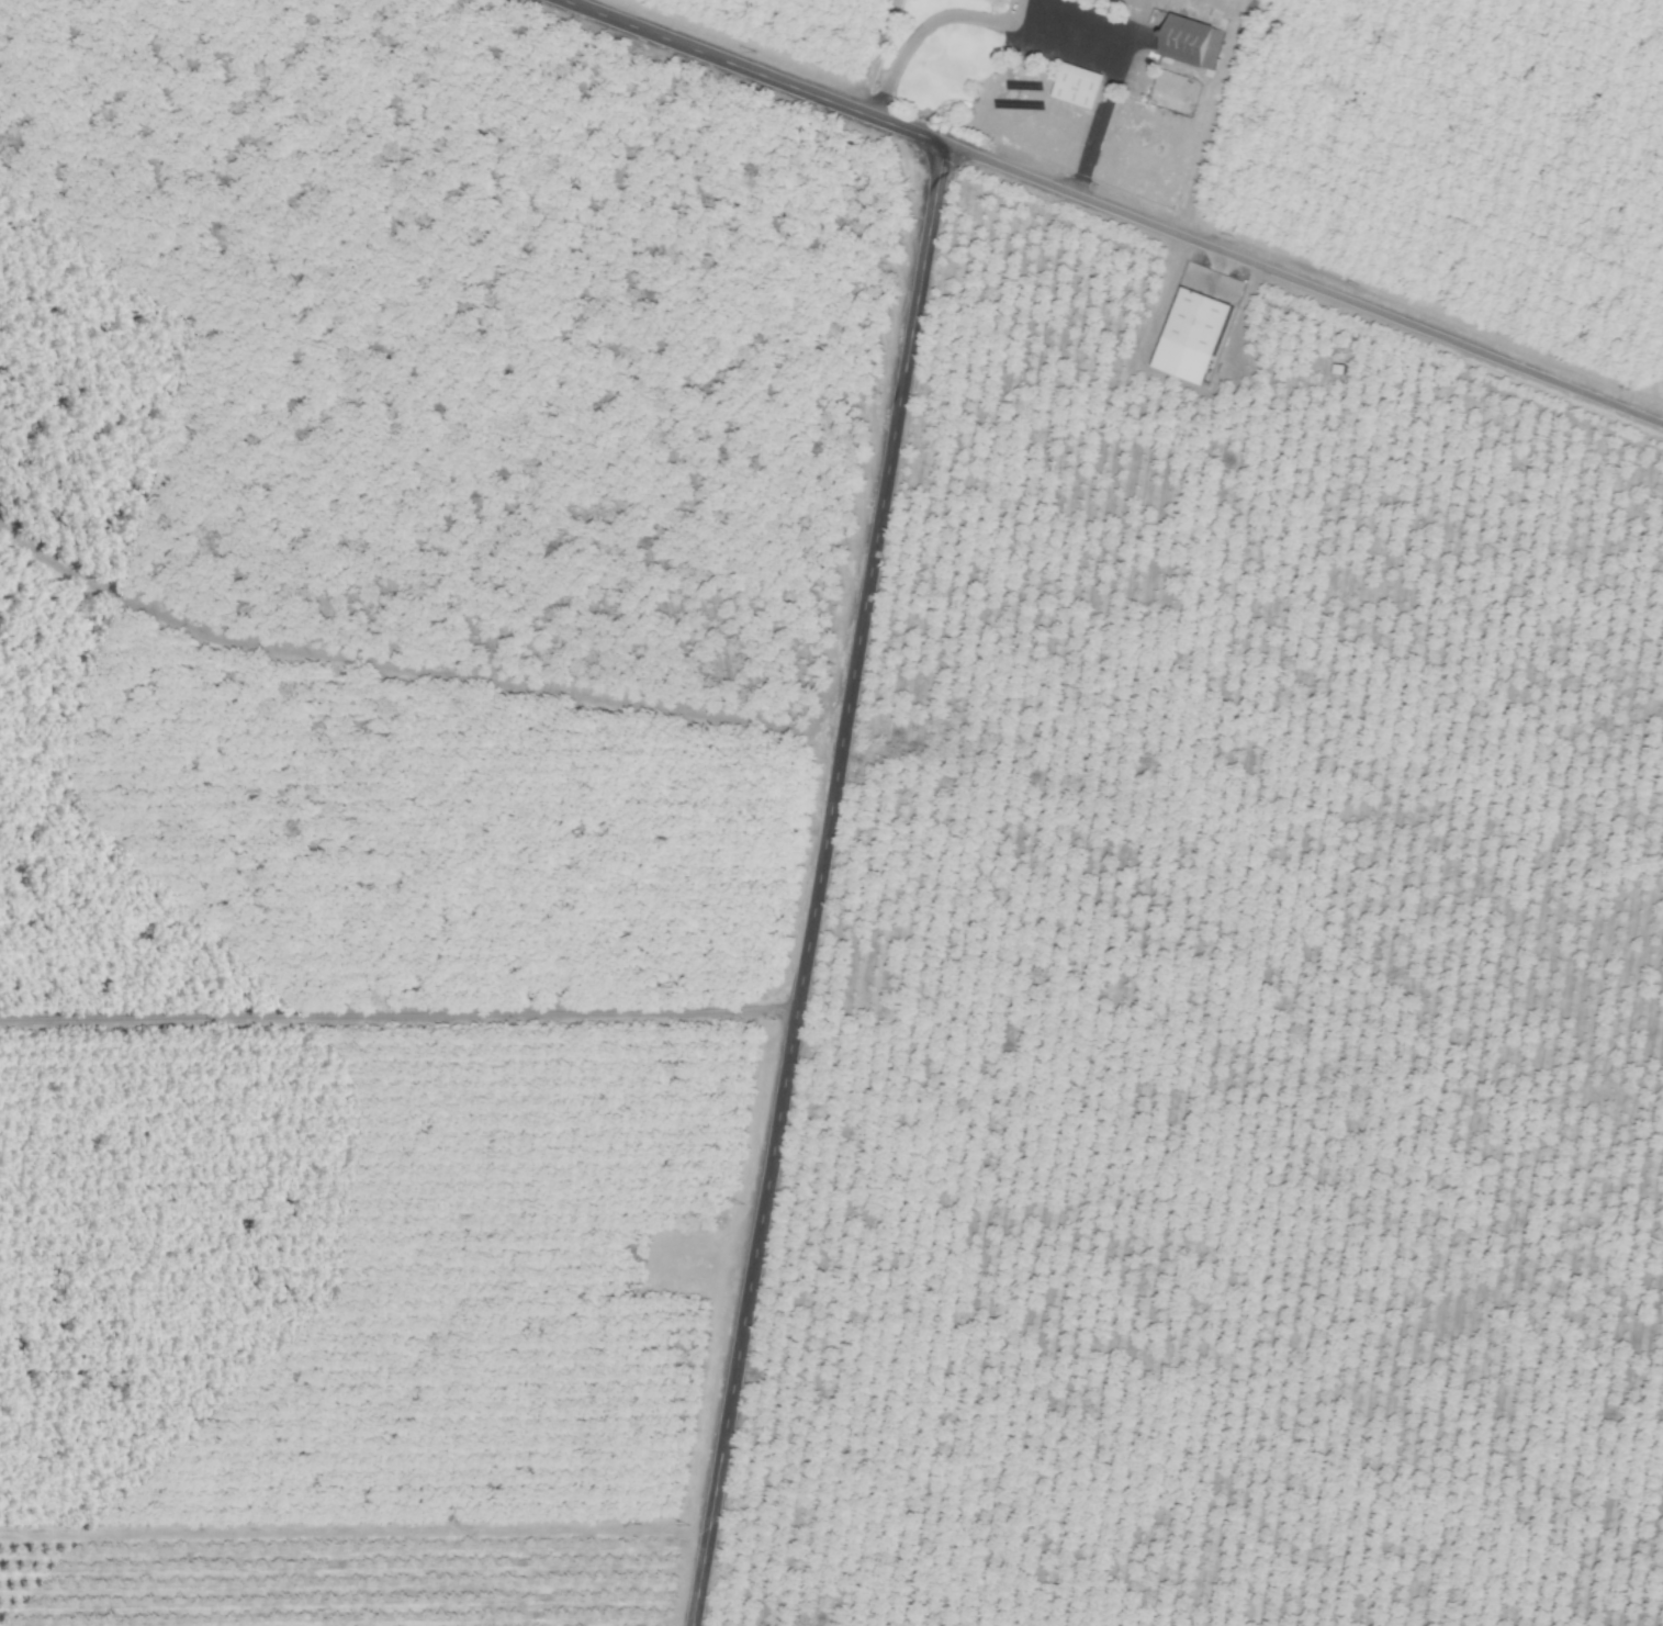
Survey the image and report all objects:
road: (1043, 25)
building: (1190, 42)
road: (749, 72)
building: (1077, 86)
road: (1302, 287)
building: (1195, 321)
road: (814, 885)
road: (397, 1012)

